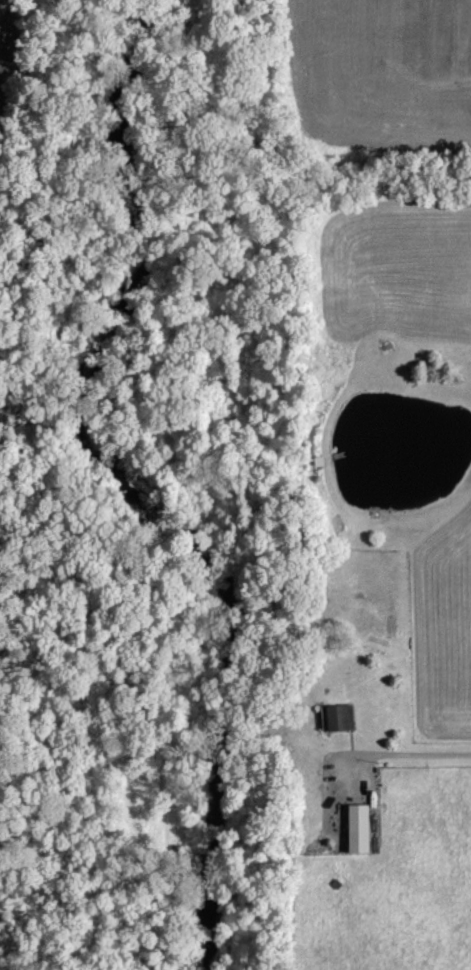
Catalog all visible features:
building: (341, 719)
building: (361, 830)

